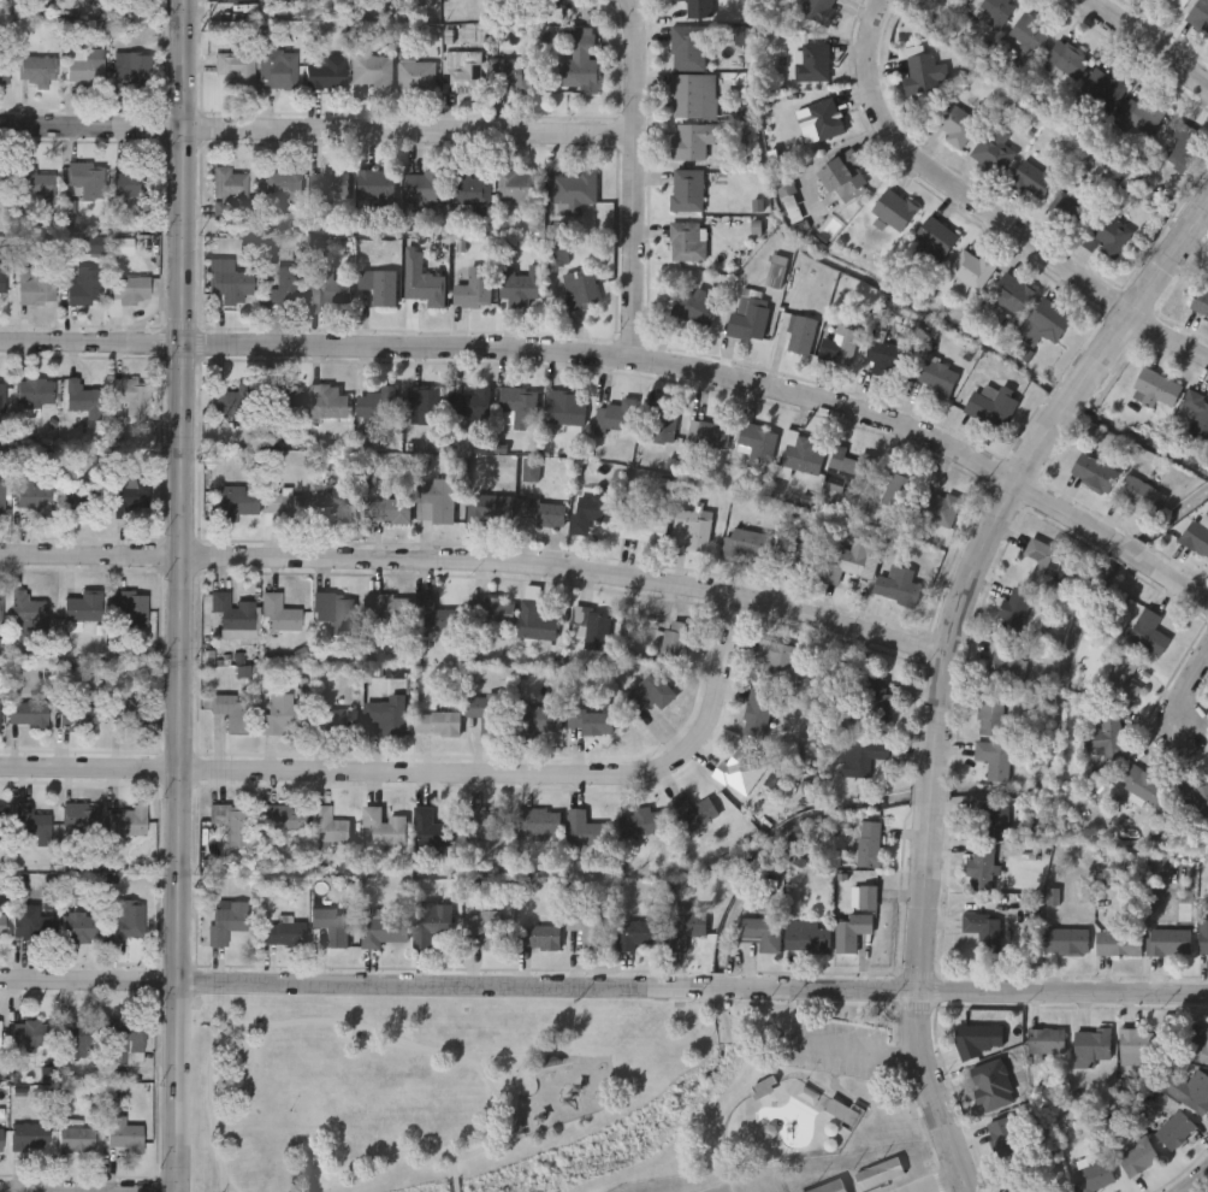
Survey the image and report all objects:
building: (958, 0)
building: (226, 1)
building: (1176, 2)
building: (572, 5)
building: (700, 10)
building: (821, 11)
building: (993, 13)
building: (1201, 16)
power tower: (200, 35)
building: (1031, 35)
road: (1143, 46)
building: (692, 48)
building: (1066, 64)
building: (581, 65)
building: (813, 66)
building: (85, 67)
building: (5, 70)
building: (279, 71)
building: (239, 72)
building: (37, 73)
building: (134, 73)
building: (462, 73)
building: (326, 75)
building: (373, 75)
building: (414, 75)
building: (926, 77)
building: (510, 78)
building: (1105, 90)
building: (694, 98)
building: (1143, 118)
building: (824, 122)
building: (957, 126)
road: (315, 129)
building: (697, 142)
building: (1185, 148)
building: (994, 153)
building: (5, 176)
building: (846, 178)
road: (630, 179)
building: (88, 182)
building: (1035, 183)
building: (137, 184)
building: (331, 185)
building: (37, 187)
building: (377, 187)
building: (282, 188)
building: (227, 190)
building: (472, 191)
building: (520, 191)
building: (425, 193)
building: (688, 193)
building: (574, 194)
building: (896, 212)
building: (1070, 214)
road: (984, 218)
building: (1108, 238)
building: (937, 240)
building: (688, 243)
building: (975, 271)
building: (778, 275)
building: (2, 279)
building: (230, 283)
building: (424, 287)
building: (37, 288)
building: (286, 288)
building: (85, 289)
building: (379, 289)
building: (519, 290)
road: (1142, 290)
building: (130, 291)
building: (327, 291)
building: (474, 291)
building: (580, 291)
building: (1014, 296)
building: (1202, 301)
building: (694, 309)
building: (750, 320)
building: (1052, 321)
building: (799, 334)
road: (575, 355)
building: (887, 361)
building: (938, 378)
building: (1156, 390)
building: (35, 394)
building: (131, 395)
building: (2, 399)
road: (1061, 400)
building: (81, 403)
building: (235, 403)
building: (327, 403)
building: (427, 406)
building: (472, 406)
building: (283, 407)
building: (378, 408)
building: (519, 408)
building: (993, 408)
building: (565, 409)
building: (1198, 417)
building: (615, 419)
building: (662, 426)
building: (711, 435)
building: (759, 447)
power tower: (197, 454)
building: (801, 454)
building: (1095, 473)
building: (849, 476)
building: (896, 488)
building: (1142, 494)
building: (2, 498)
building: (131, 498)
building: (36, 500)
building: (436, 500)
building: (79, 502)
building: (239, 502)
building: (389, 504)
building: (336, 506)
building: (937, 508)
building: (285, 509)
building: (491, 511)
building: (592, 512)
building: (545, 514)
building: (644, 530)
building: (692, 530)
building: (1197, 538)
building: (747, 545)
road: (1124, 551)
building: (803, 557)
building: (854, 560)
road: (476, 563)
building: (1044, 563)
road: (1171, 580)
building: (899, 588)
road: (958, 588)
road: (182, 595)
building: (83, 608)
building: (387, 608)
building: (130, 609)
building: (0, 610)
building: (28, 610)
building: (1015, 612)
building: (233, 613)
building: (495, 613)
building: (280, 615)
building: (333, 615)
building: (430, 615)
building: (537, 622)
building: (592, 627)
building: (1150, 633)
building: (675, 645)
building: (780, 660)
building: (1005, 663)
building: (1124, 683)
building: (651, 694)
road: (1180, 698)
building: (878, 706)
building: (0, 713)
building: (130, 714)
building: (231, 714)
building: (991, 714)
building: (488, 715)
building: (757, 715)
building: (29, 716)
building: (284, 716)
building: (389, 716)
building: (79, 718)
building: (336, 721)
building: (543, 724)
building: (592, 724)
building: (438, 725)
building: (1112, 738)
building: (861, 757)
building: (996, 762)
building: (740, 771)
road: (431, 775)
building: (1144, 785)
road: (926, 791)
building: (697, 814)
building: (990, 820)
building: (284, 821)
building: (83, 822)
building: (1, 824)
building: (128, 824)
building: (231, 824)
building: (539, 824)
building: (645, 824)
building: (32, 826)
building: (328, 827)
building: (384, 827)
building: (487, 828)
building: (433, 831)
building: (584, 831)
building: (871, 844)
building: (982, 868)
power tower: (189, 881)
building: (864, 899)
building: (227, 921)
building: (26, 923)
building: (126, 923)
building: (431, 925)
building: (2, 928)
building: (79, 928)
building: (984, 928)
building: (587, 930)
building: (486, 931)
building: (337, 932)
building: (385, 932)
building: (682, 933)
building: (763, 933)
building: (852, 933)
building: (283, 934)
building: (638, 936)
building: (538, 939)
building: (1068, 939)
building: (1204, 939)
building: (1120, 940)
building: (809, 942)
building: (1169, 943)
road: (603, 986)
road: (918, 1002)
building: (26, 1035)
building: (124, 1037)
building: (0, 1038)
building: (76, 1038)
road: (535, 1039)
building: (979, 1039)
building: (1046, 1040)
road: (434, 1043)
building: (1138, 1044)
building: (1091, 1045)
building: (1201, 1045)
road: (859, 1048)
building: (1186, 1087)
park: (533, 1091)
building: (843, 1114)
building: (1177, 1128)
building: (122, 1135)
building: (29, 1138)
building: (0, 1140)
building: (77, 1140)
building: (1138, 1155)
road: (454, 1166)
building: (878, 1173)
building: (1096, 1175)
road: (1197, 1181)
road: (231, 1182)
road: (250, 1182)
road: (455, 1184)
road: (941, 1184)
building: (828, 1186)
building: (1034, 1188)

